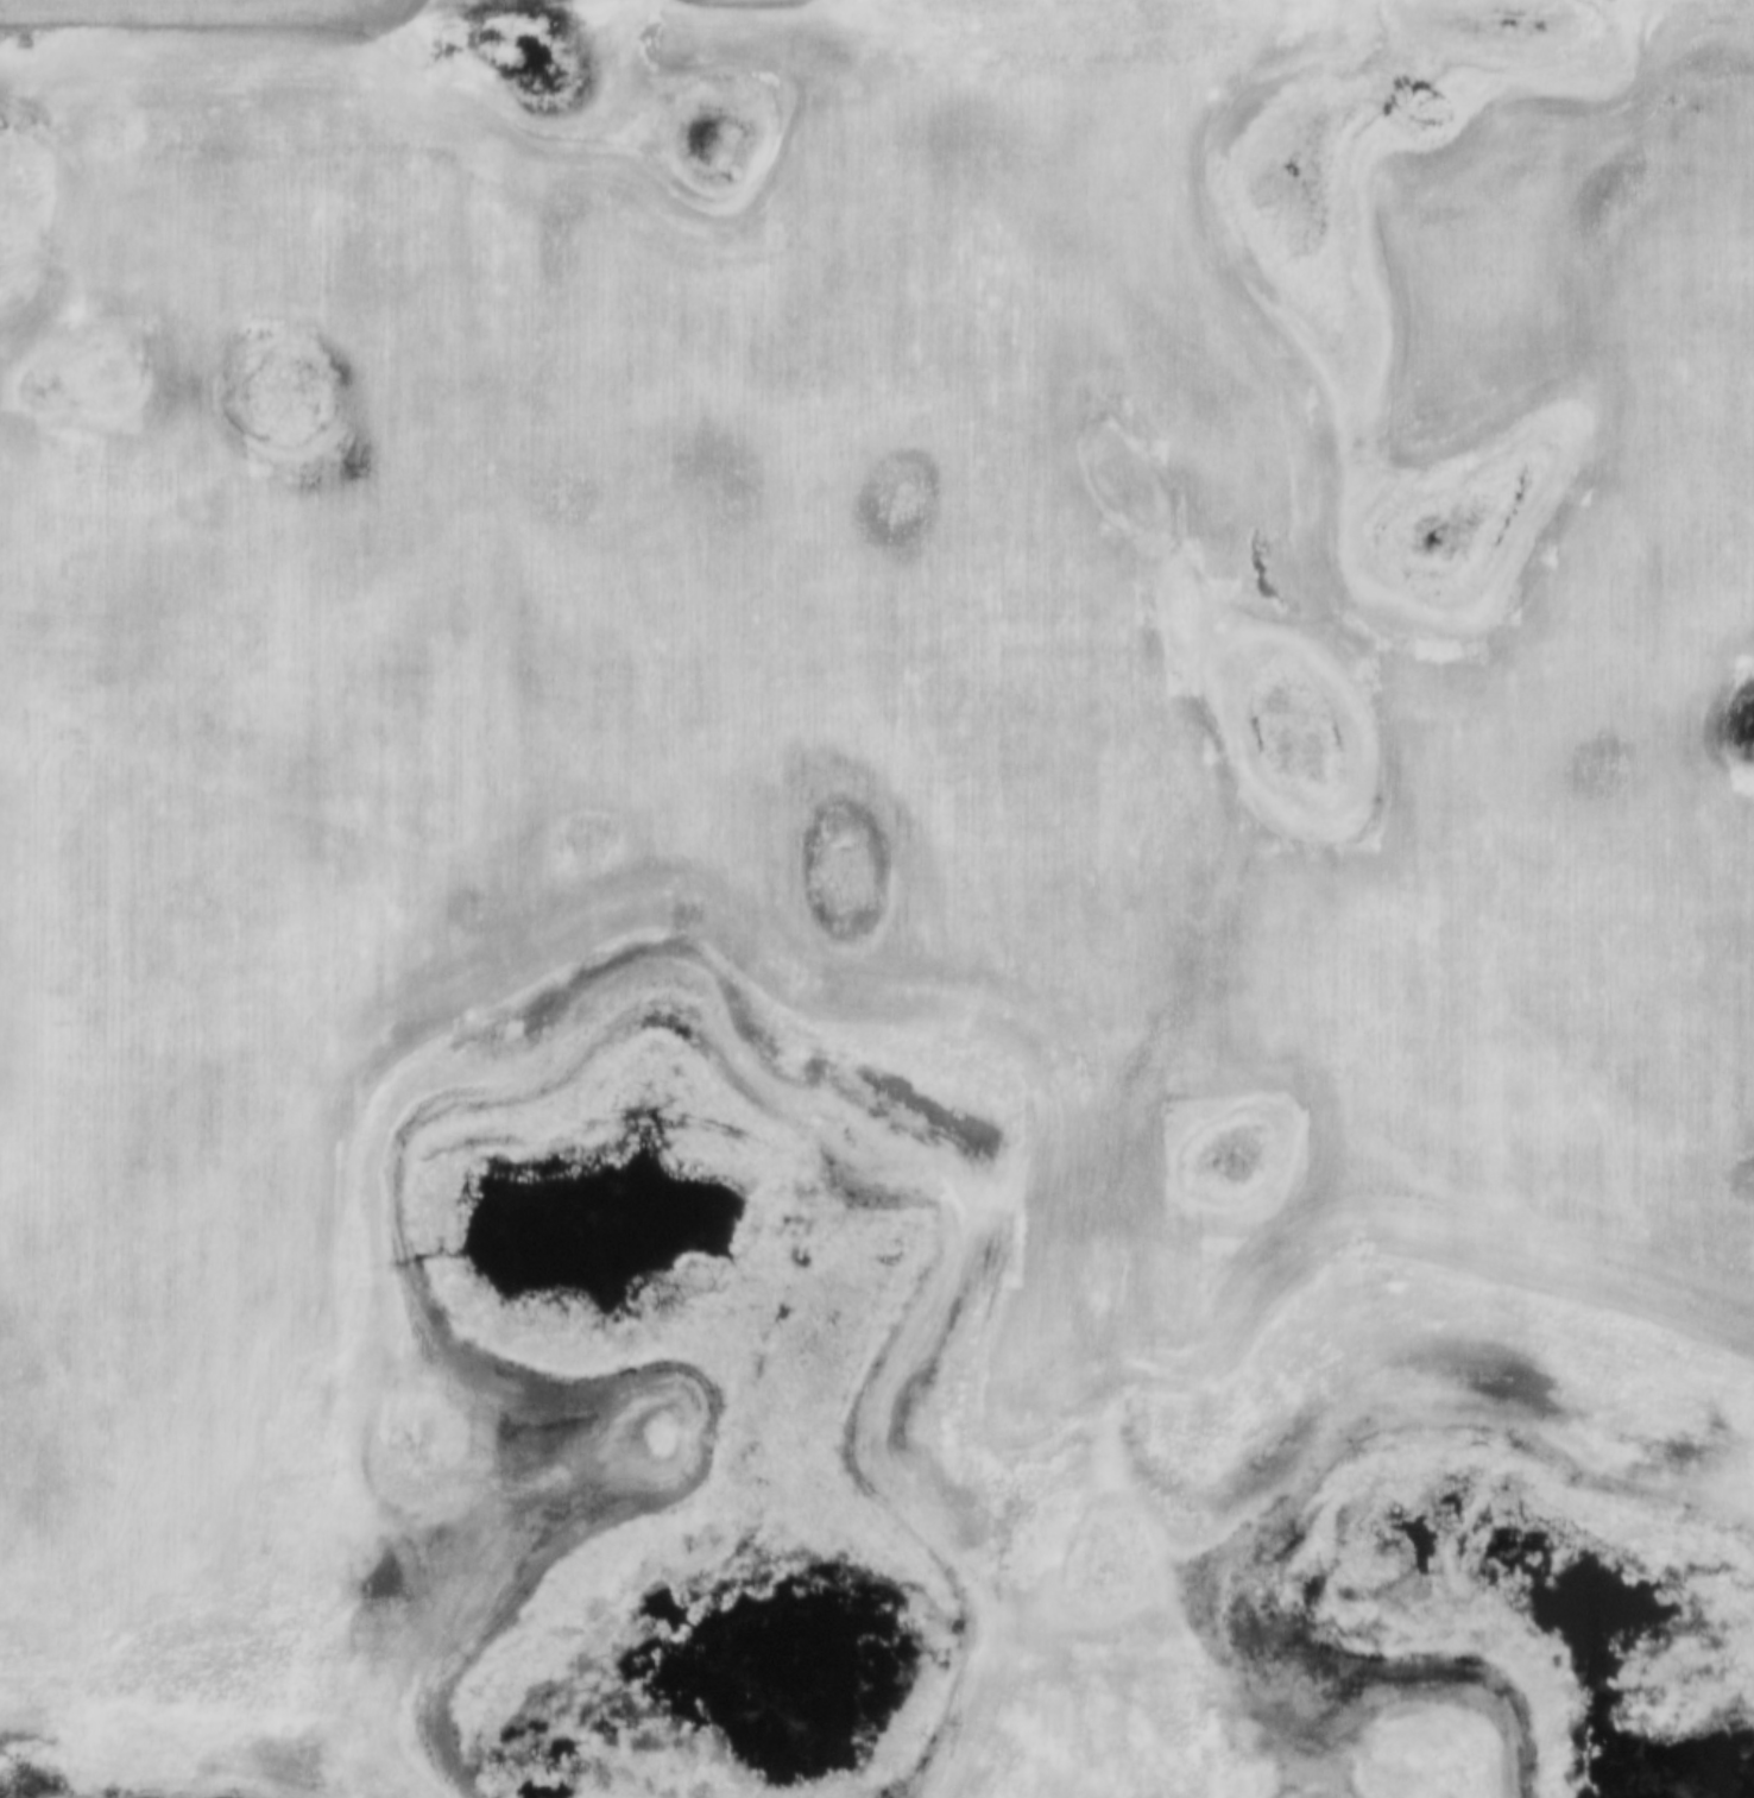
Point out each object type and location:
road: (858, 20)

